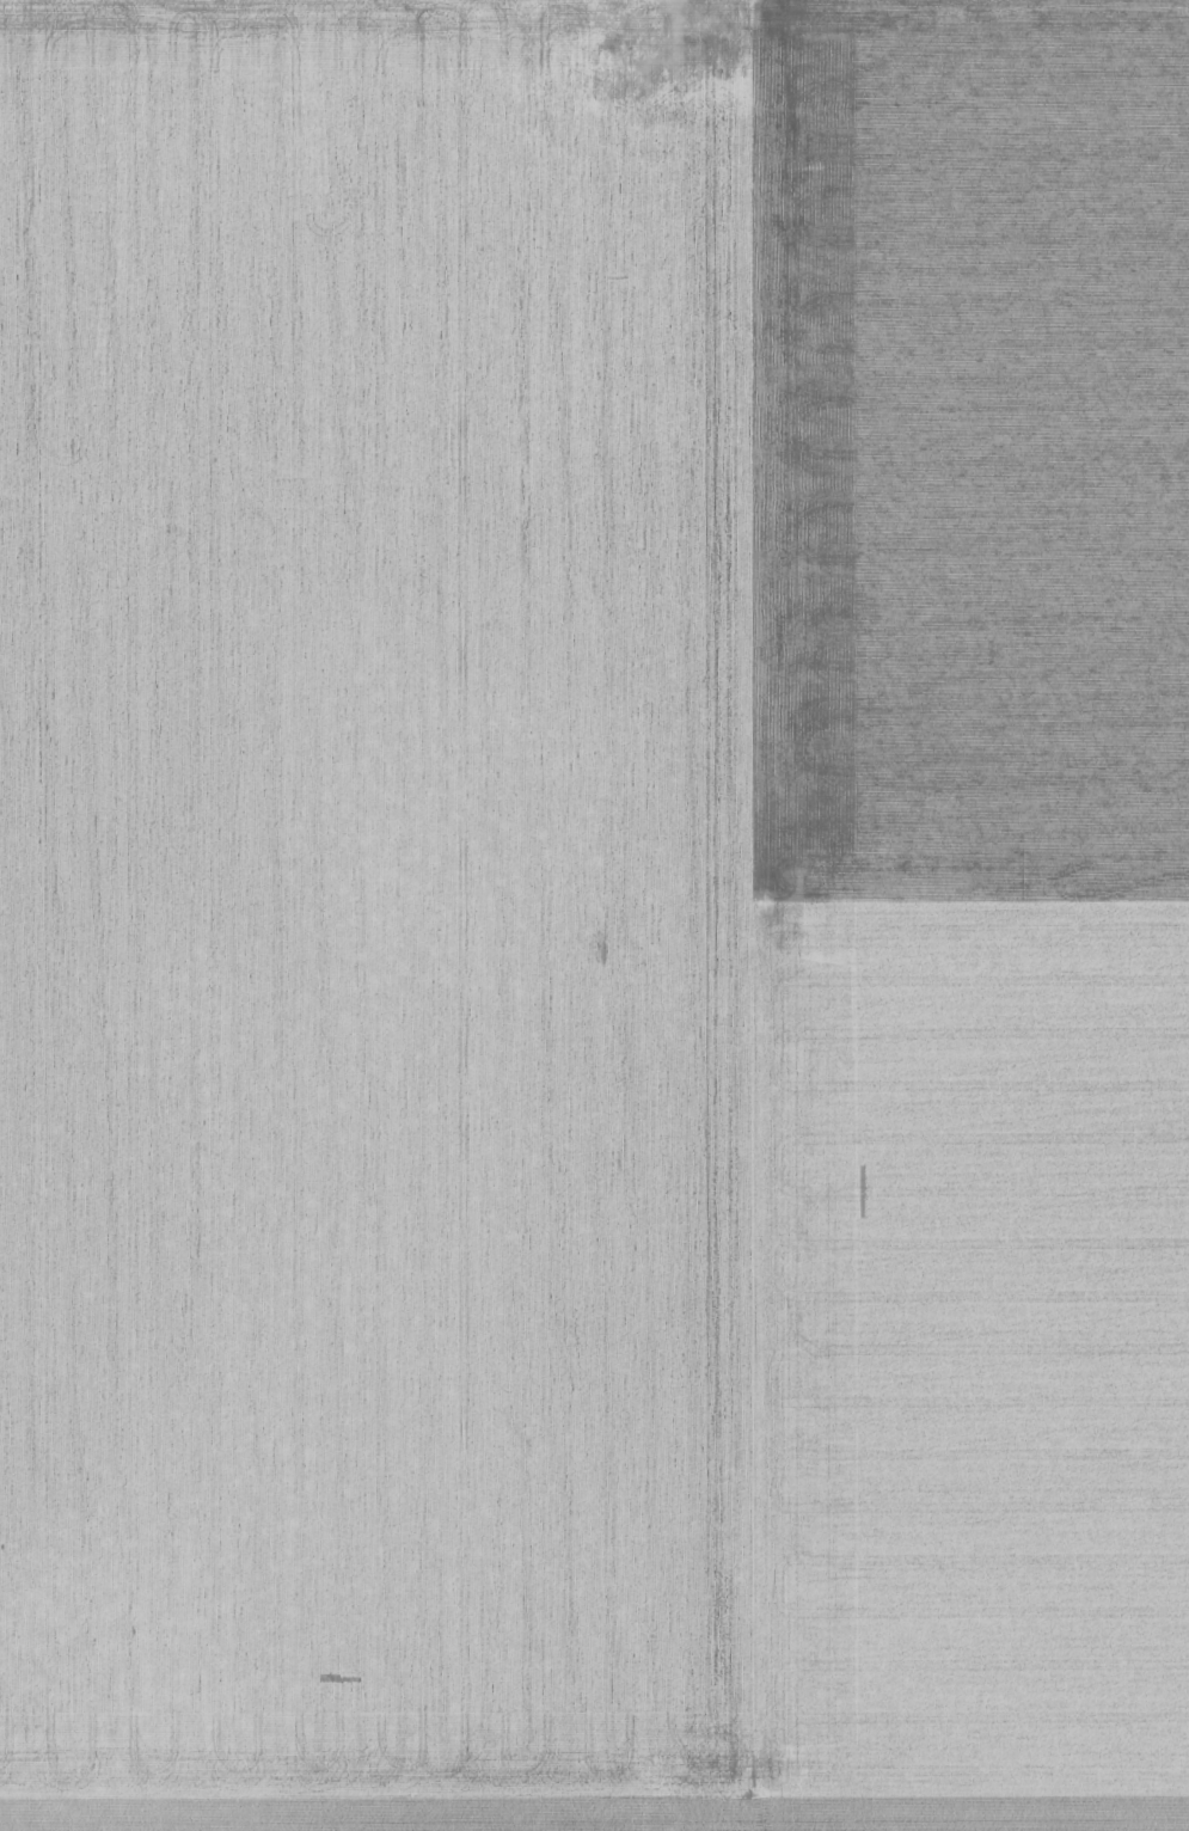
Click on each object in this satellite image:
building: (715, 36)
building: (629, 43)
building: (605, 79)

